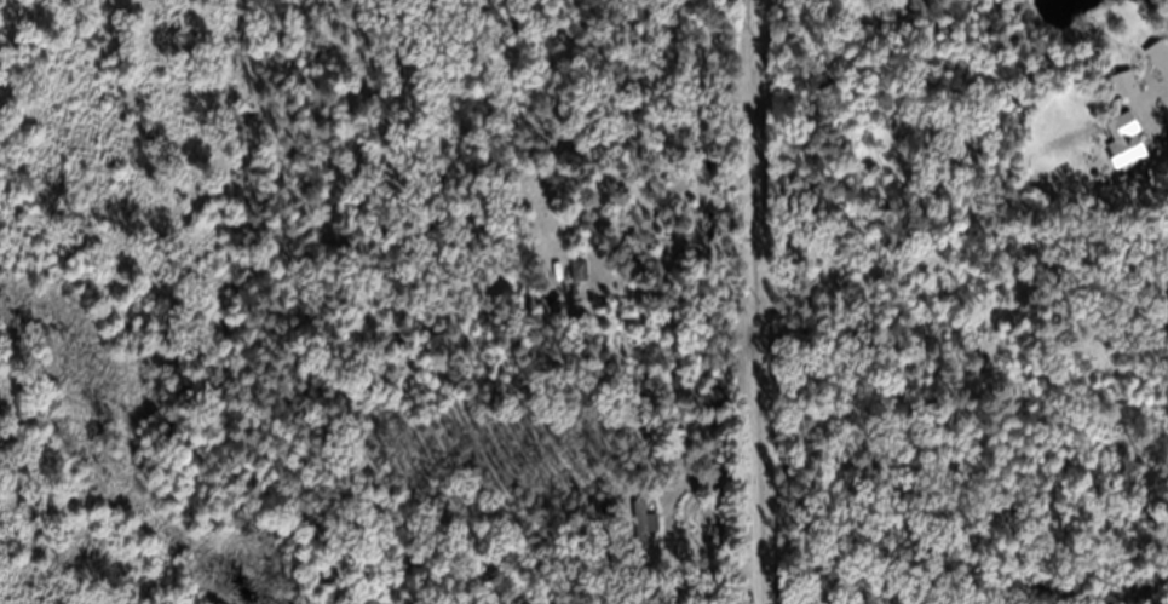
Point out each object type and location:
building: (1161, 70)
building: (1126, 138)
building: (582, 284)
road: (764, 301)
building: (648, 537)

